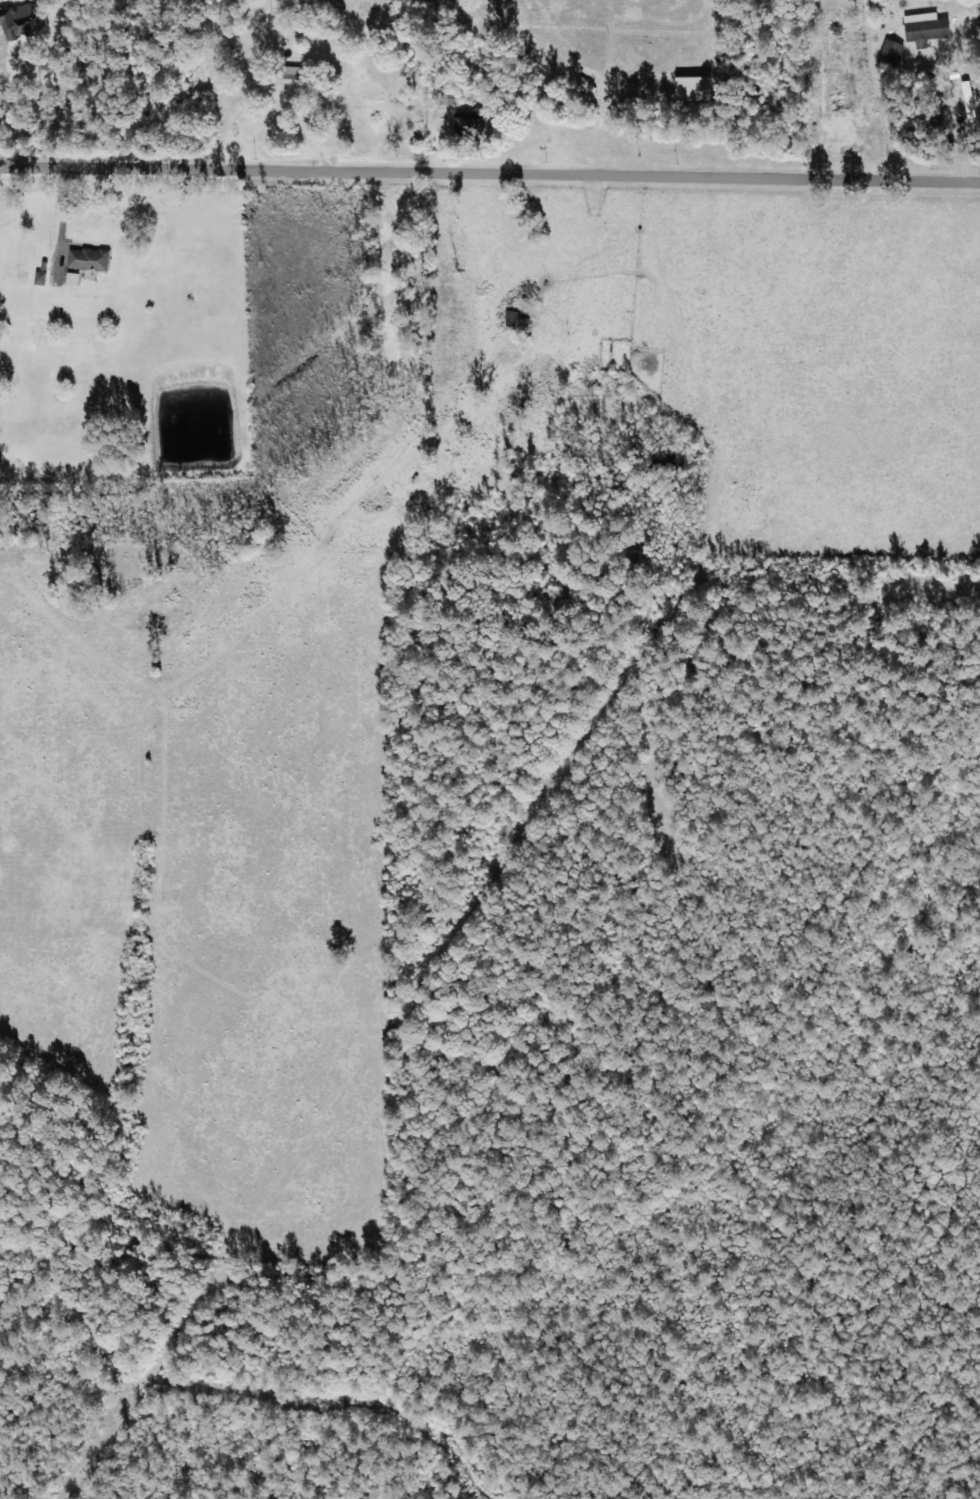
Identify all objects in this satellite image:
building: (18, 20)
building: (923, 27)
building: (889, 52)
building: (290, 75)
building: (691, 87)
building: (467, 122)
road: (489, 178)
building: (87, 258)
building: (39, 277)
building: (516, 318)
road: (491, 412)

